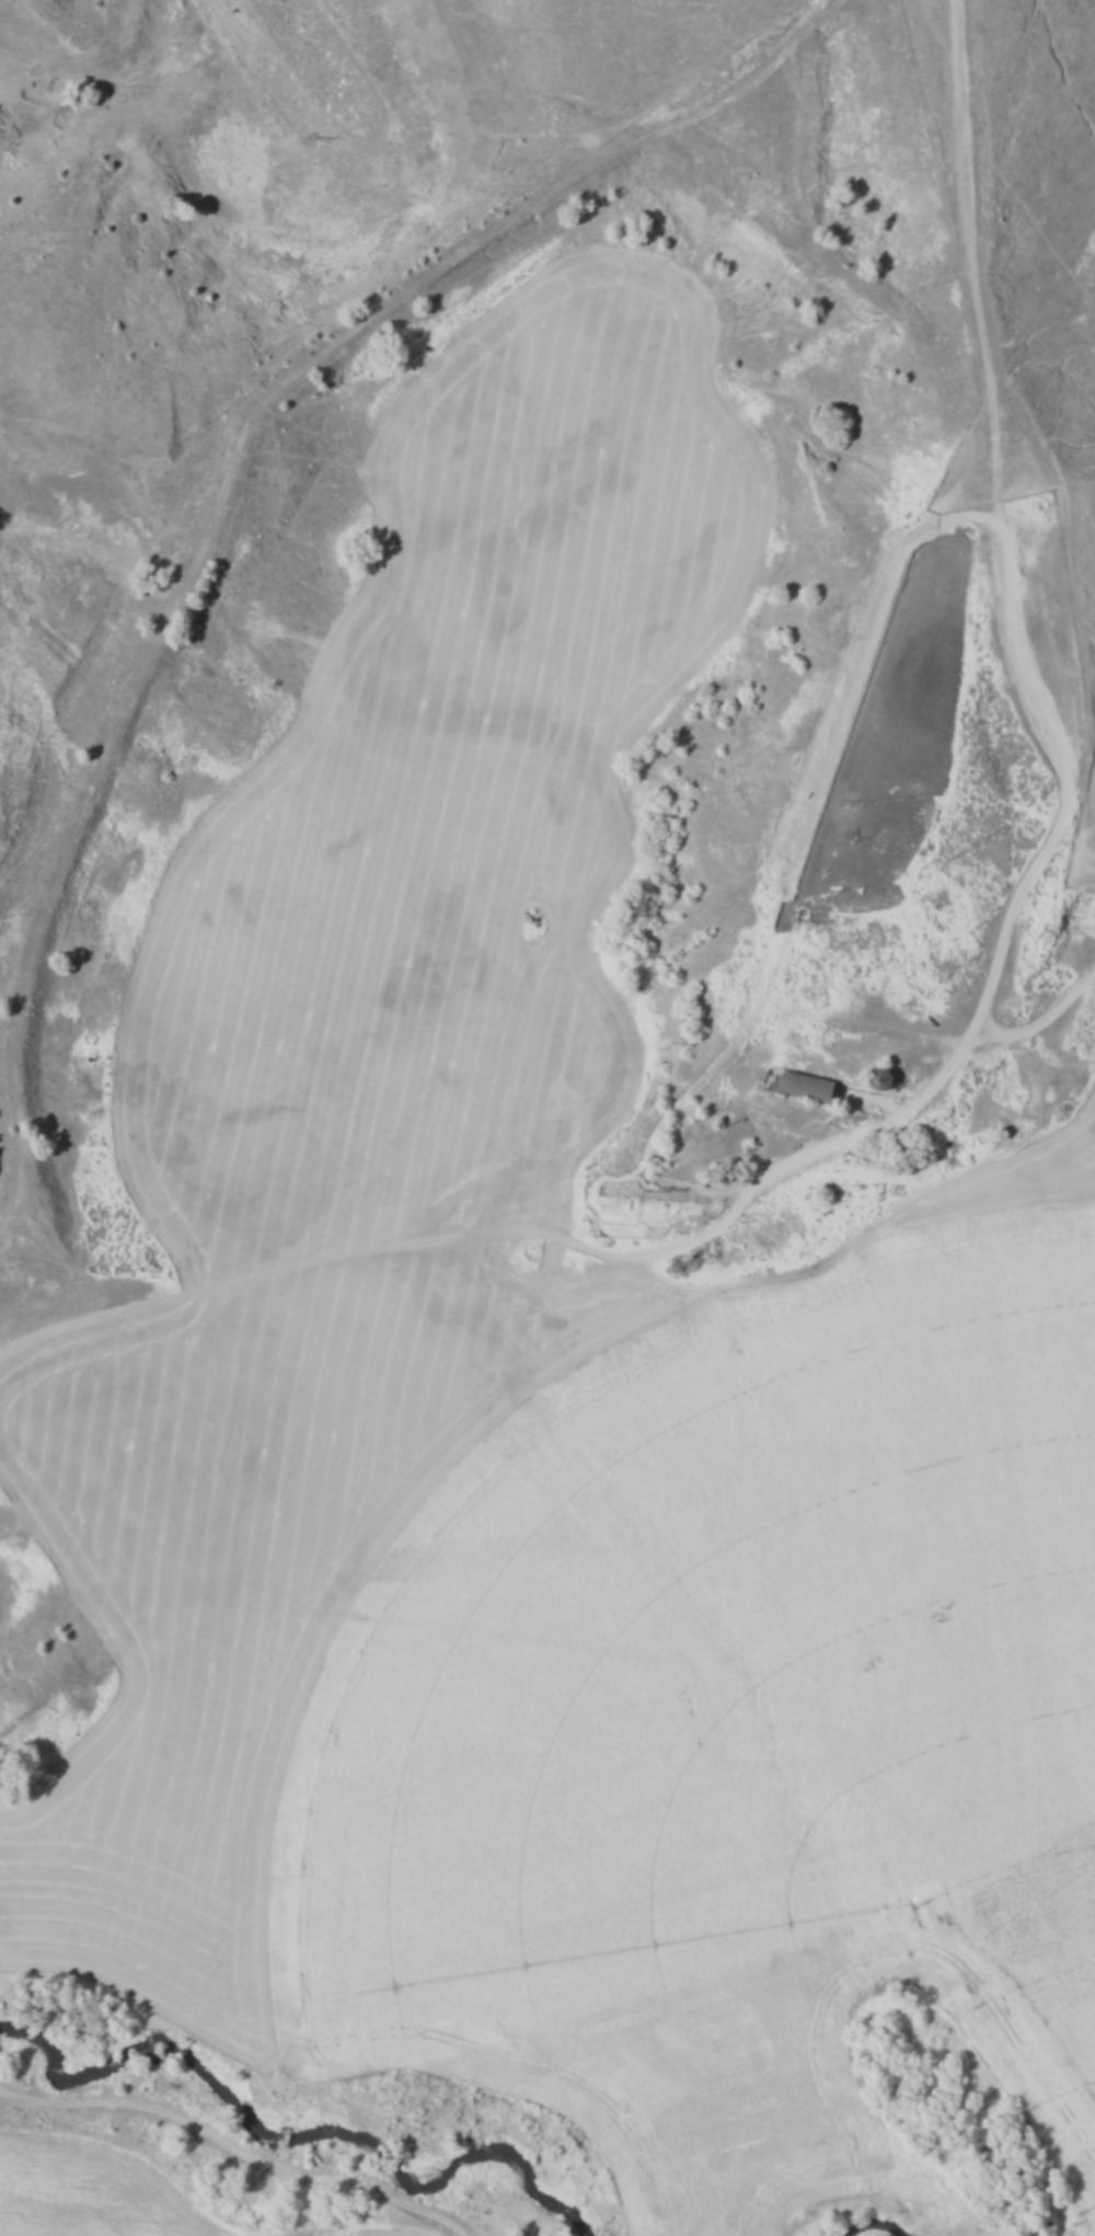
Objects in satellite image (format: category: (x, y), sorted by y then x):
crop: (447, 812)
building: (877, 1079)
building: (817, 1088)
building: (556, 1303)
crop: (250, 1593)
crop: (744, 1669)
crop: (752, 2082)

